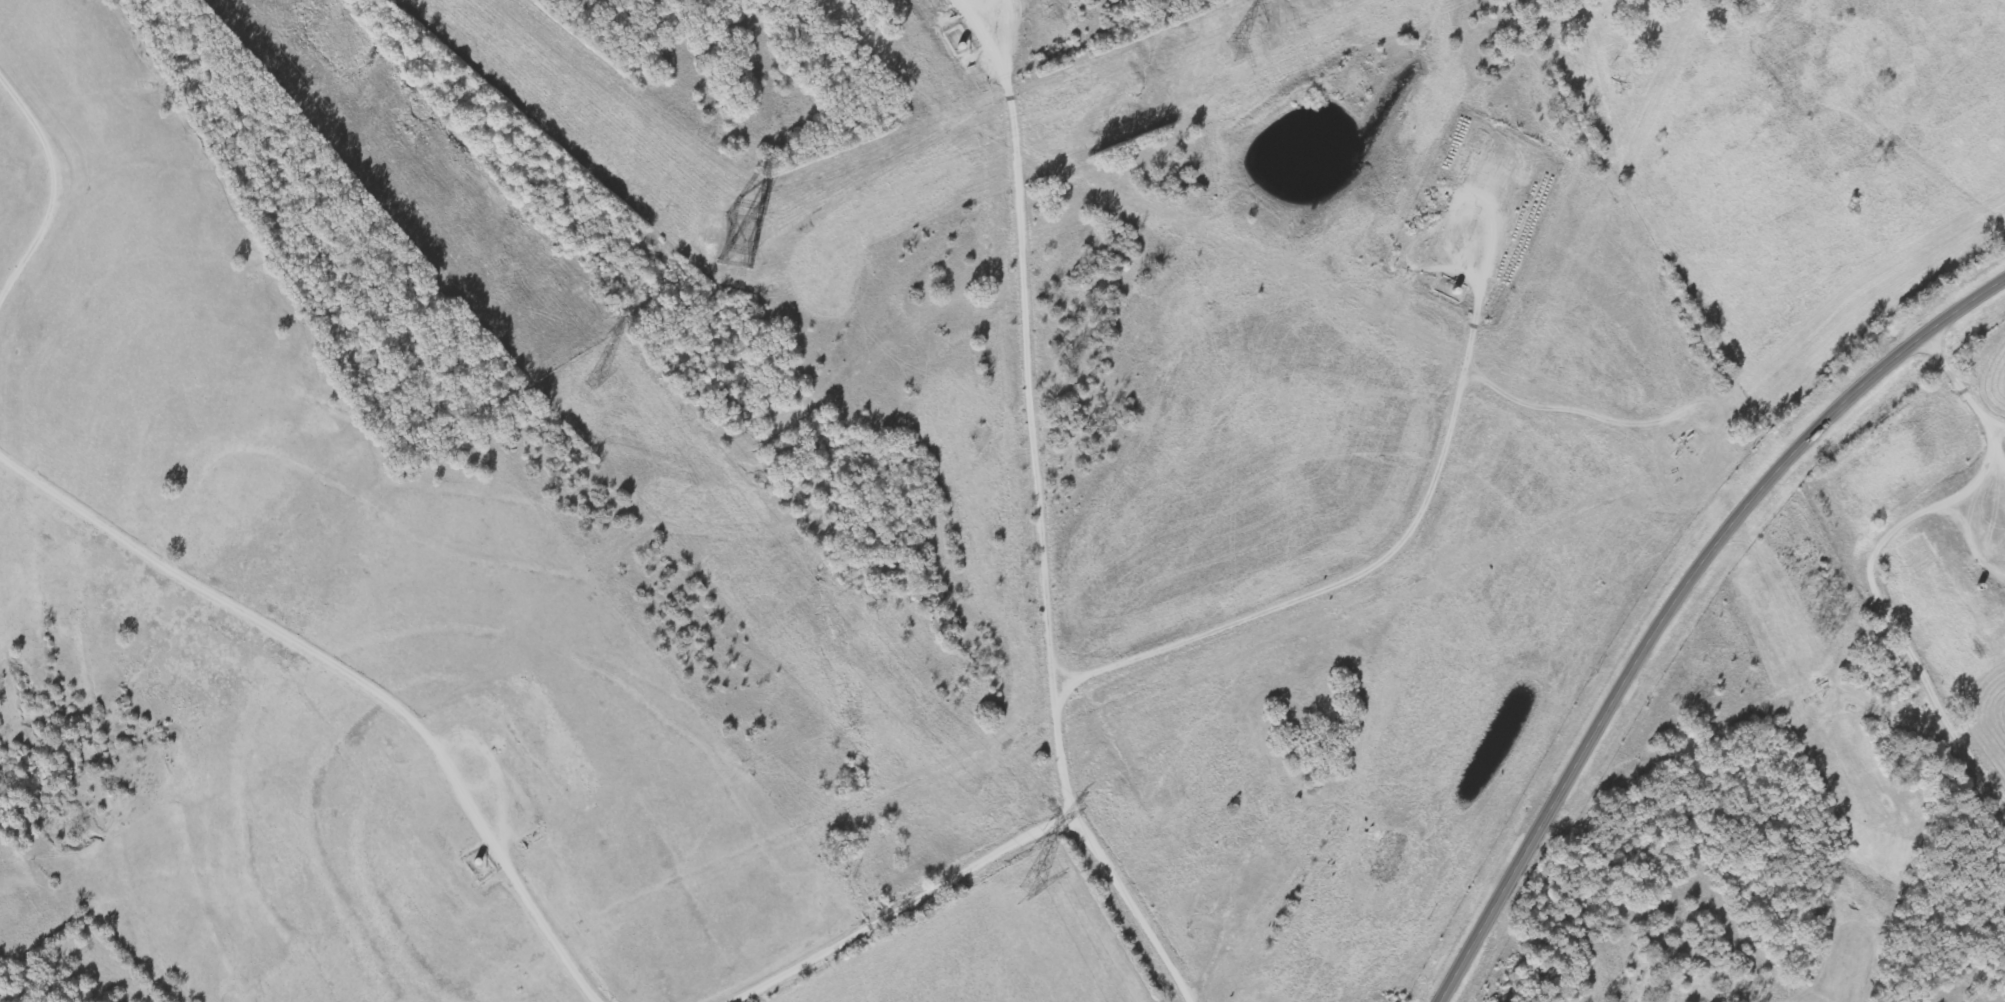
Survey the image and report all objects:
power tower: (1223, 52)
road: (1648, 234)
power tower: (726, 240)
power tower: (585, 380)
road: (1675, 601)
power tower: (1019, 884)

